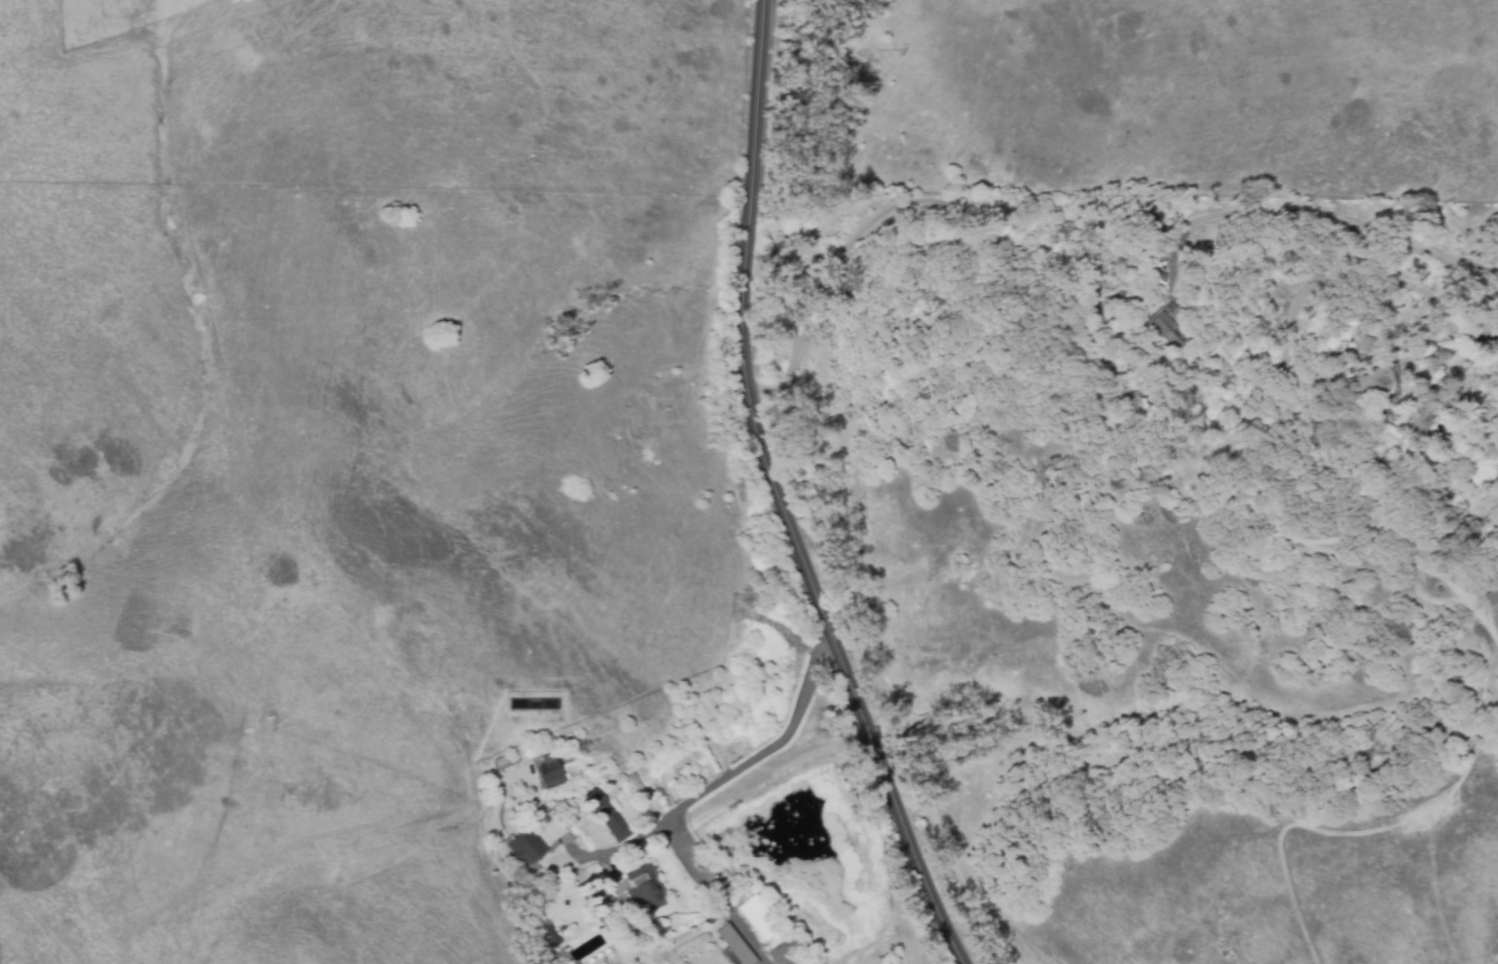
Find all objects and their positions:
building: (1173, 328)
building: (1367, 345)
building: (1375, 388)
road: (779, 496)
building: (549, 772)
building: (634, 784)
road: (698, 794)
building: (606, 816)
building: (536, 840)
road: (624, 846)
building: (645, 889)
building: (604, 901)
building: (759, 920)
building: (550, 937)
building: (734, 946)
building: (781, 956)

